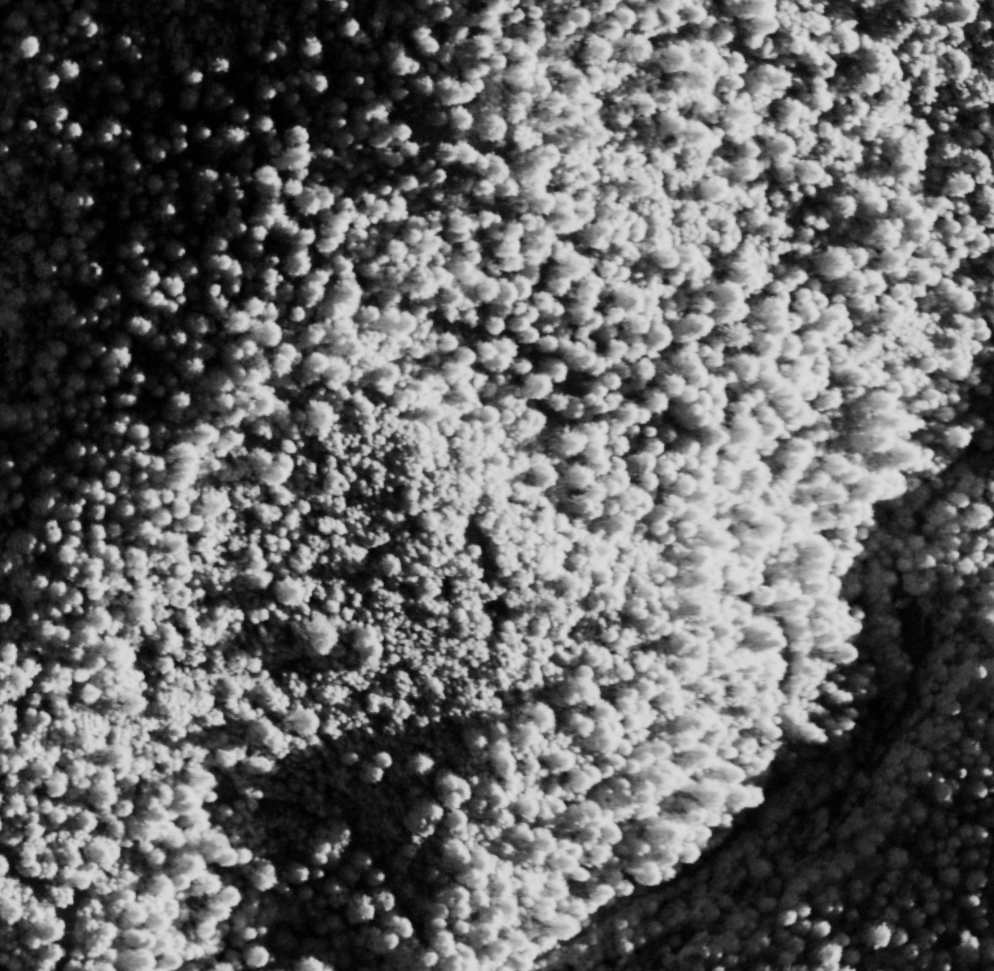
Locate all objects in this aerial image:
road: (7, 10)
road: (775, 614)
road: (271, 800)
road: (34, 886)
road: (68, 944)

